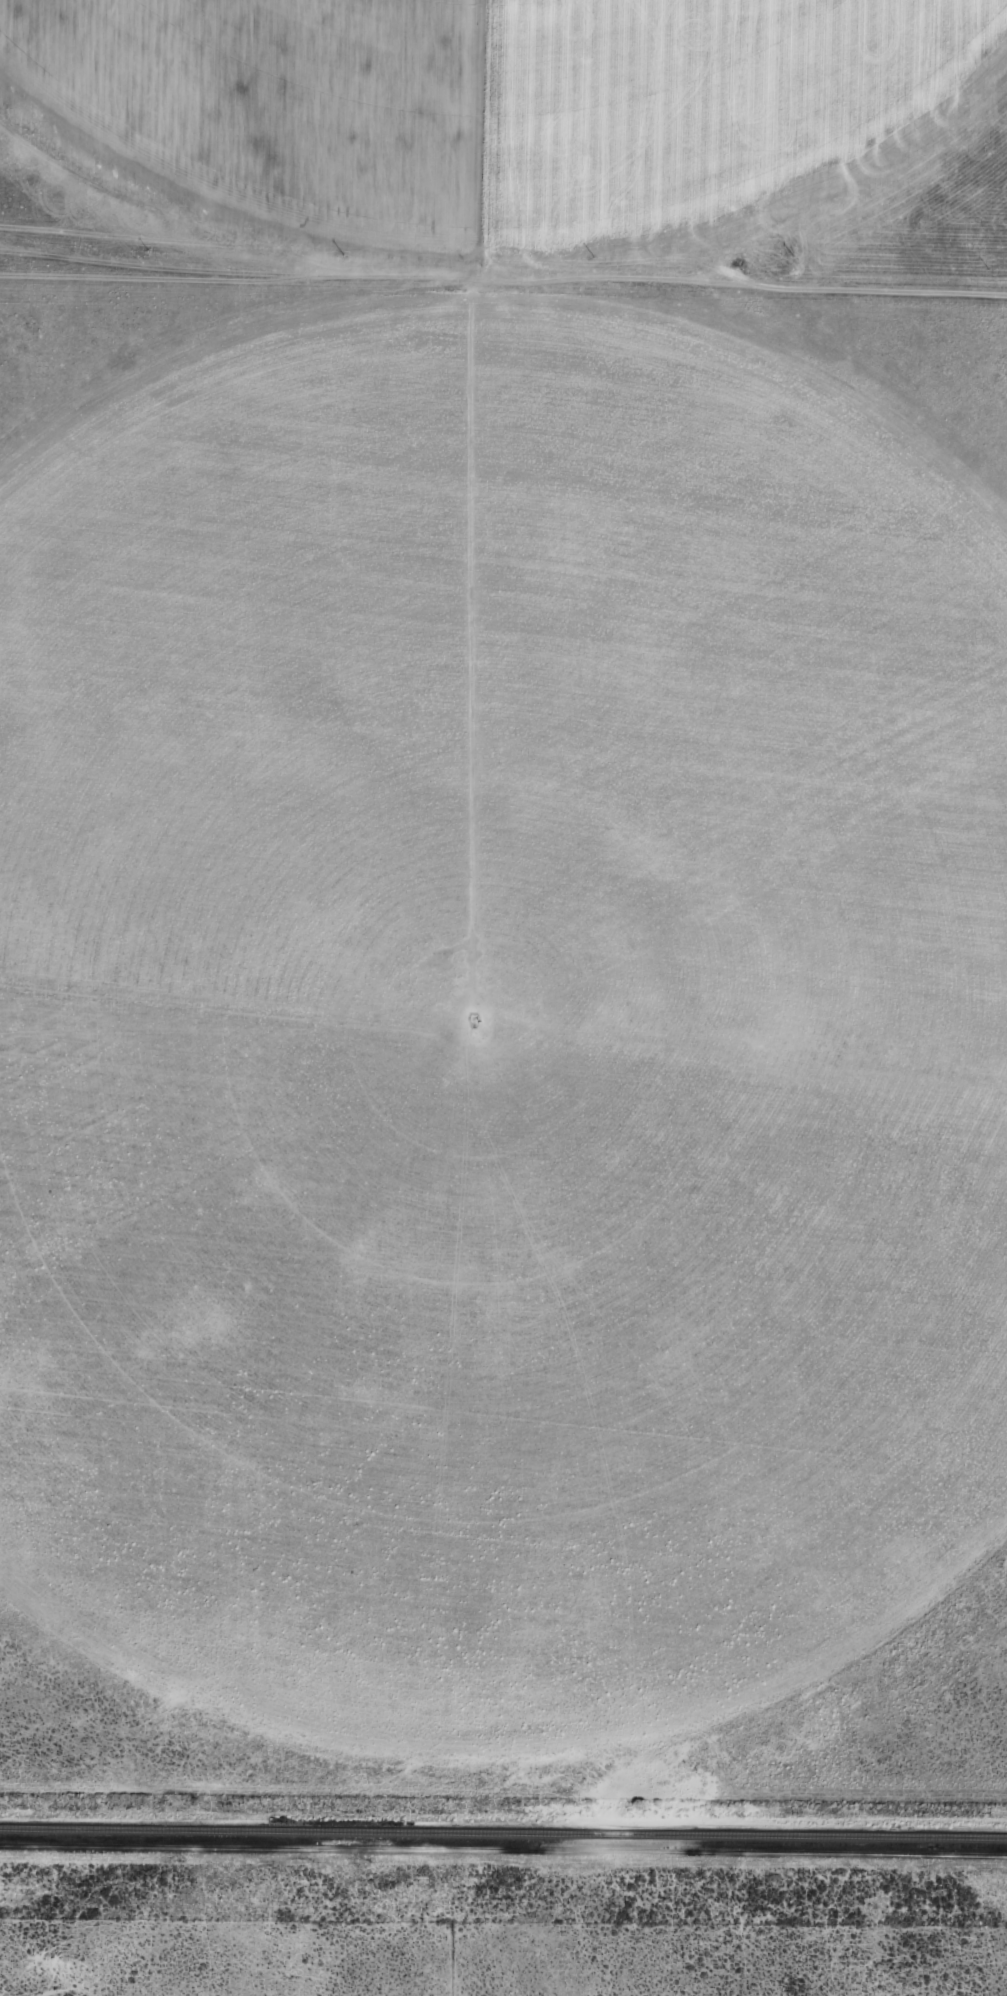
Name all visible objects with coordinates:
railway: (229, 1830)
railway: (732, 1835)

